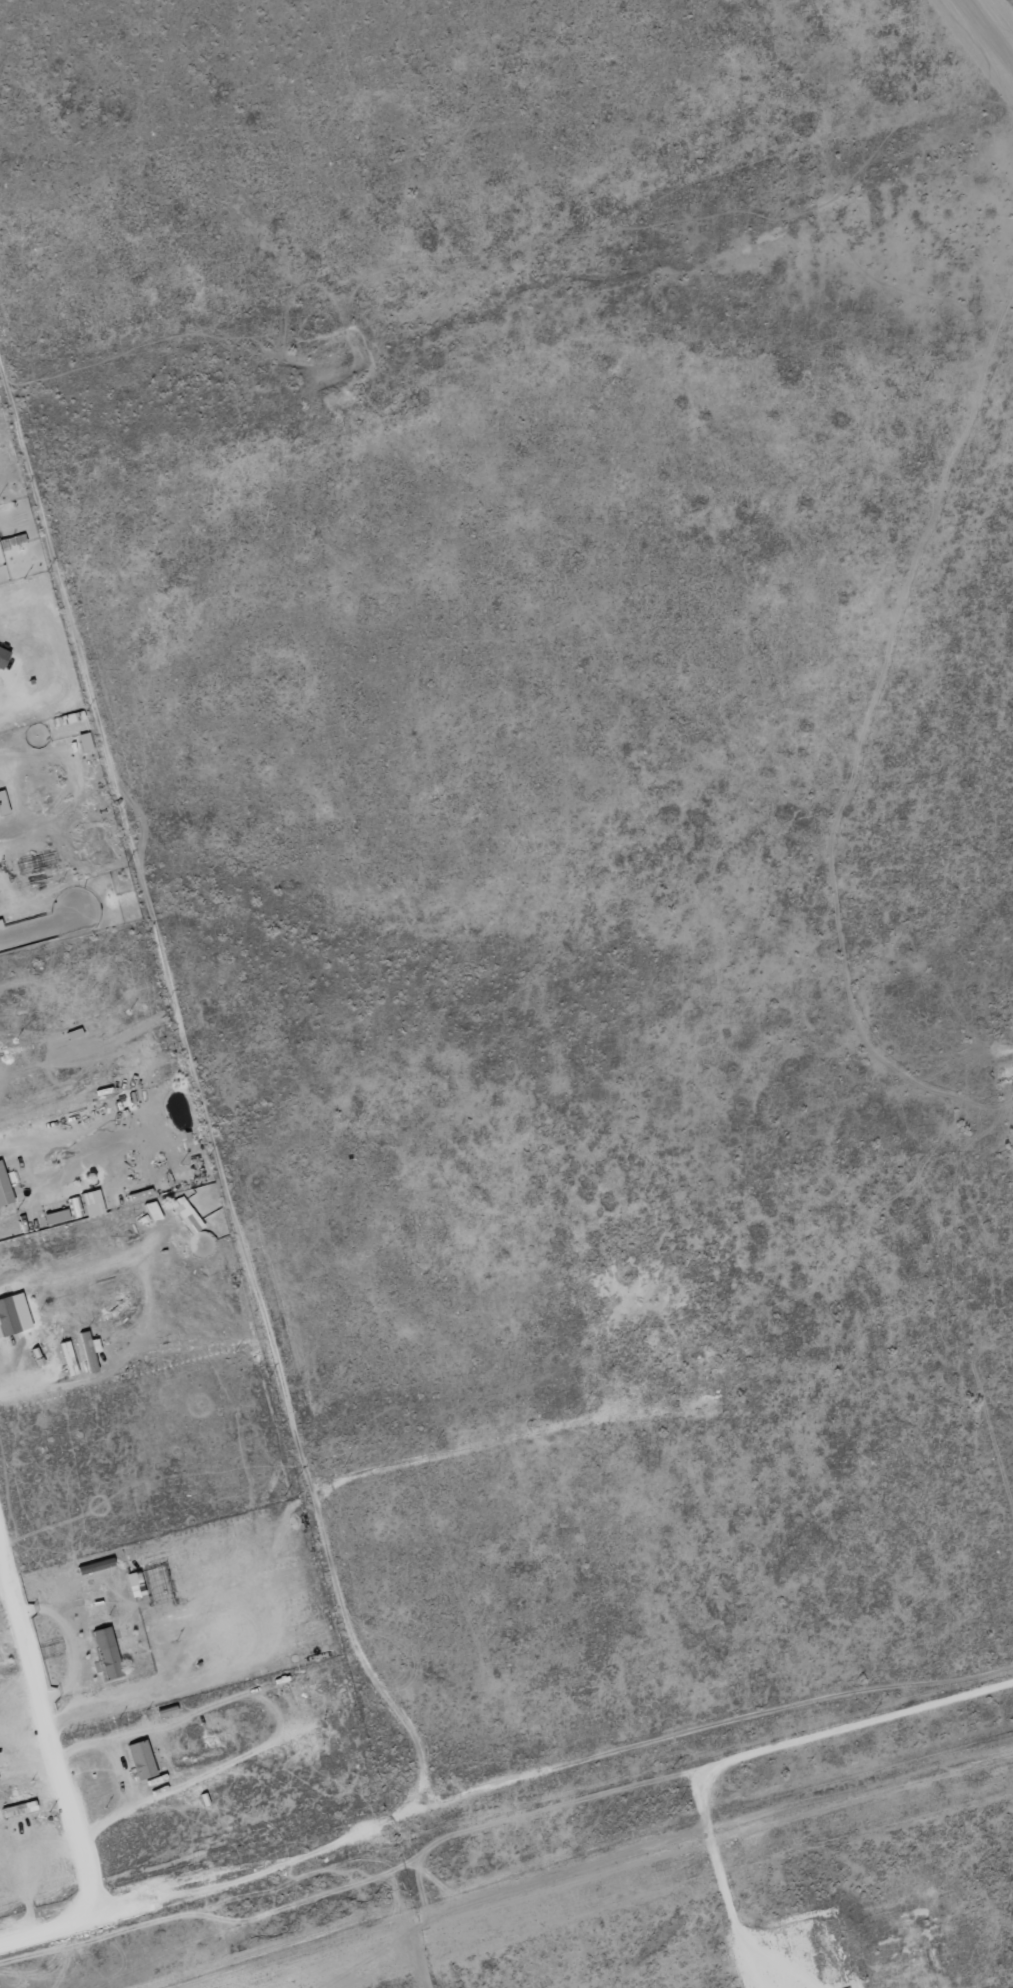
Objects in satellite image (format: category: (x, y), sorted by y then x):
building: (2, 657)
building: (83, 743)
building: (2, 806)
building: (3, 1192)
building: (90, 1204)
building: (179, 1209)
building: (6, 1319)
building: (133, 1585)
building: (105, 1655)
building: (139, 1761)
road: (468, 1765)
road: (175, 1854)

